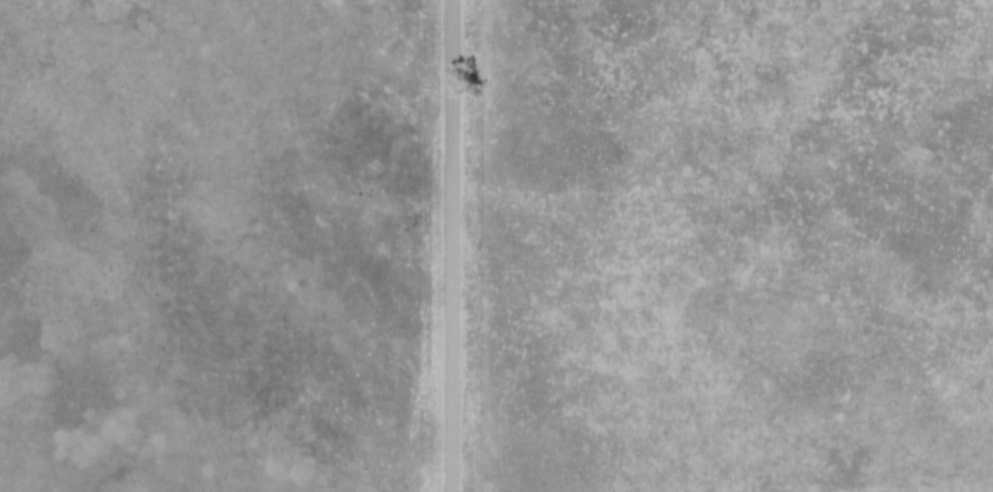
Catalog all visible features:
road: (455, 246)

